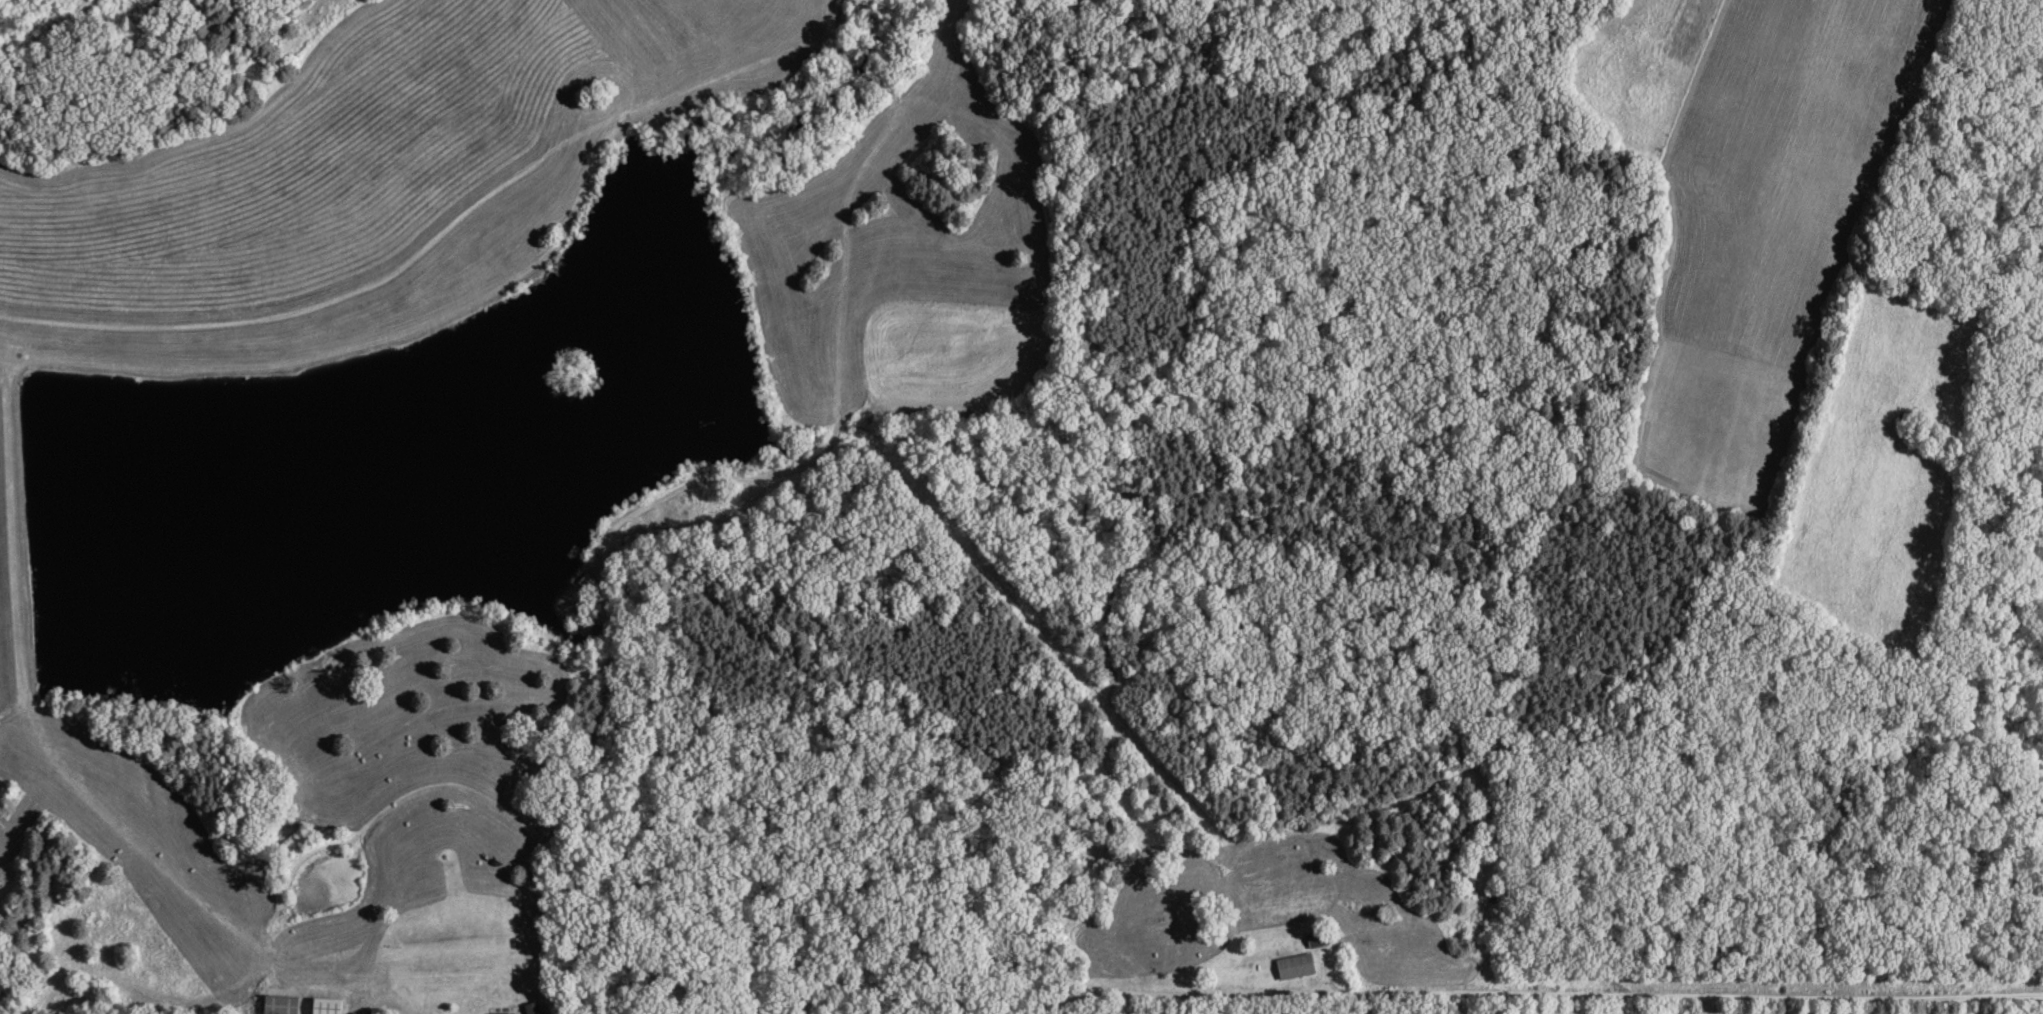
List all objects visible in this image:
road: (549, 831)
building: (1316, 942)
building: (1294, 969)
road: (1541, 998)
building: (280, 1005)
road: (2018, 1005)
building: (325, 1006)

